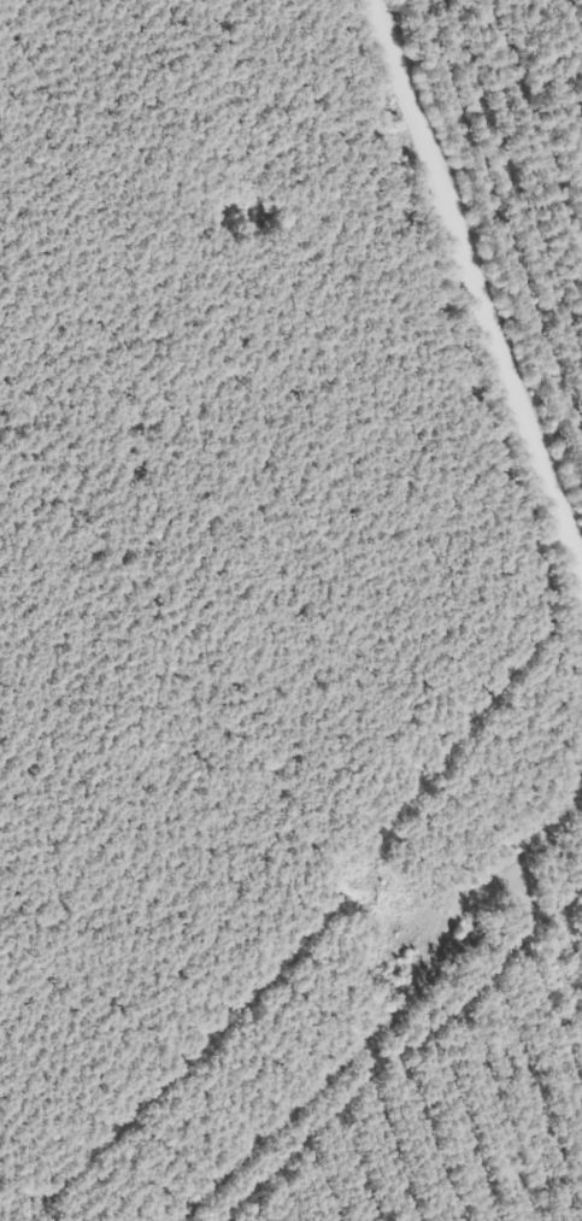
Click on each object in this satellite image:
road: (462, 307)

